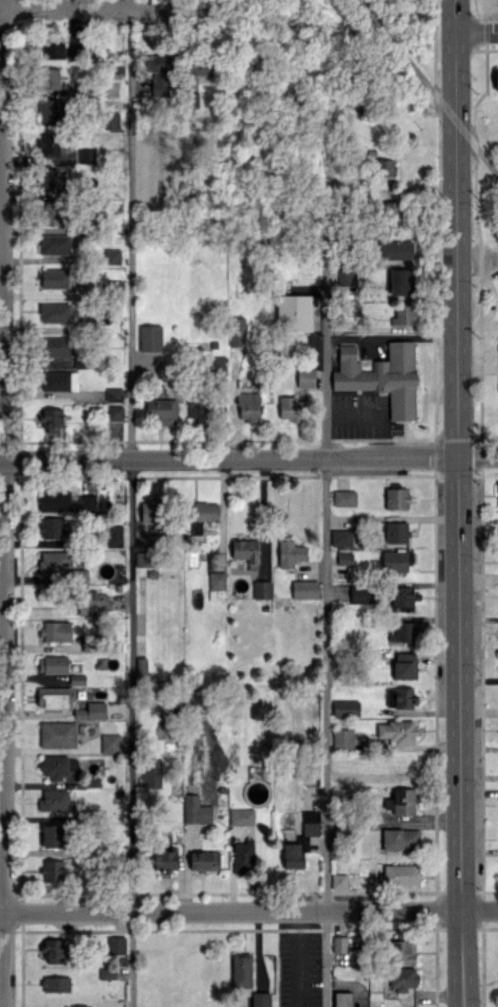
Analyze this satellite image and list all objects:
road: (100, 7)
road: (456, 17)
road: (477, 34)
road: (394, 43)
building: (52, 49)
building: (200, 67)
building: (158, 73)
building: (49, 78)
building: (496, 79)
building: (51, 112)
road: (450, 116)
building: (110, 121)
building: (48, 144)
building: (86, 155)
park: (483, 159)
road: (486, 161)
building: (383, 167)
building: (49, 178)
building: (389, 210)
building: (51, 212)
building: (54, 244)
building: (395, 250)
building: (112, 256)
building: (55, 278)
building: (401, 281)
building: (352, 308)
building: (294, 311)
building: (54, 312)
road: (326, 313)
building: (404, 314)
building: (236, 331)
road: (391, 335)
building: (150, 337)
building: (55, 346)
building: (381, 376)
building: (305, 378)
building: (59, 380)
building: (114, 394)
building: (196, 406)
building: (248, 406)
building: (291, 408)
building: (161, 410)
building: (114, 412)
building: (51, 421)
road: (249, 457)
building: (344, 498)
building: (396, 498)
building: (54, 500)
road: (129, 503)
road: (8, 506)
building: (149, 510)
building: (202, 514)
road: (458, 521)
building: (50, 527)
building: (396, 532)
building: (113, 536)
building: (341, 537)
building: (245, 551)
building: (290, 553)
building: (344, 558)
building: (144, 559)
building: (395, 560)
building: (52, 563)
building: (216, 580)
building: (262, 589)
building: (304, 589)
building: (361, 593)
building: (403, 598)
building: (91, 602)
building: (55, 631)
building: (403, 631)
building: (53, 664)
building: (405, 666)
road: (325, 684)
building: (53, 697)
building: (400, 697)
building: (346, 708)
building: (397, 732)
building: (57, 734)
building: (342, 739)
building: (110, 743)
building: (57, 766)
building: (152, 773)
building: (343, 773)
building: (53, 801)
building: (401, 801)
building: (191, 808)
building: (241, 816)
building: (310, 822)
building: (52, 835)
building: (400, 839)
building: (292, 855)
building: (243, 857)
building: (164, 859)
building: (204, 860)
building: (52, 870)
building: (401, 874)
building: (338, 880)
road: (249, 911)
building: (339, 944)
building: (116, 945)
building: (54, 950)
building: (402, 951)
road: (296, 959)
road: (325, 959)
building: (241, 970)
building: (403, 978)
building: (55, 983)
building: (261, 999)
building: (341, 999)
building: (80, 1006)

